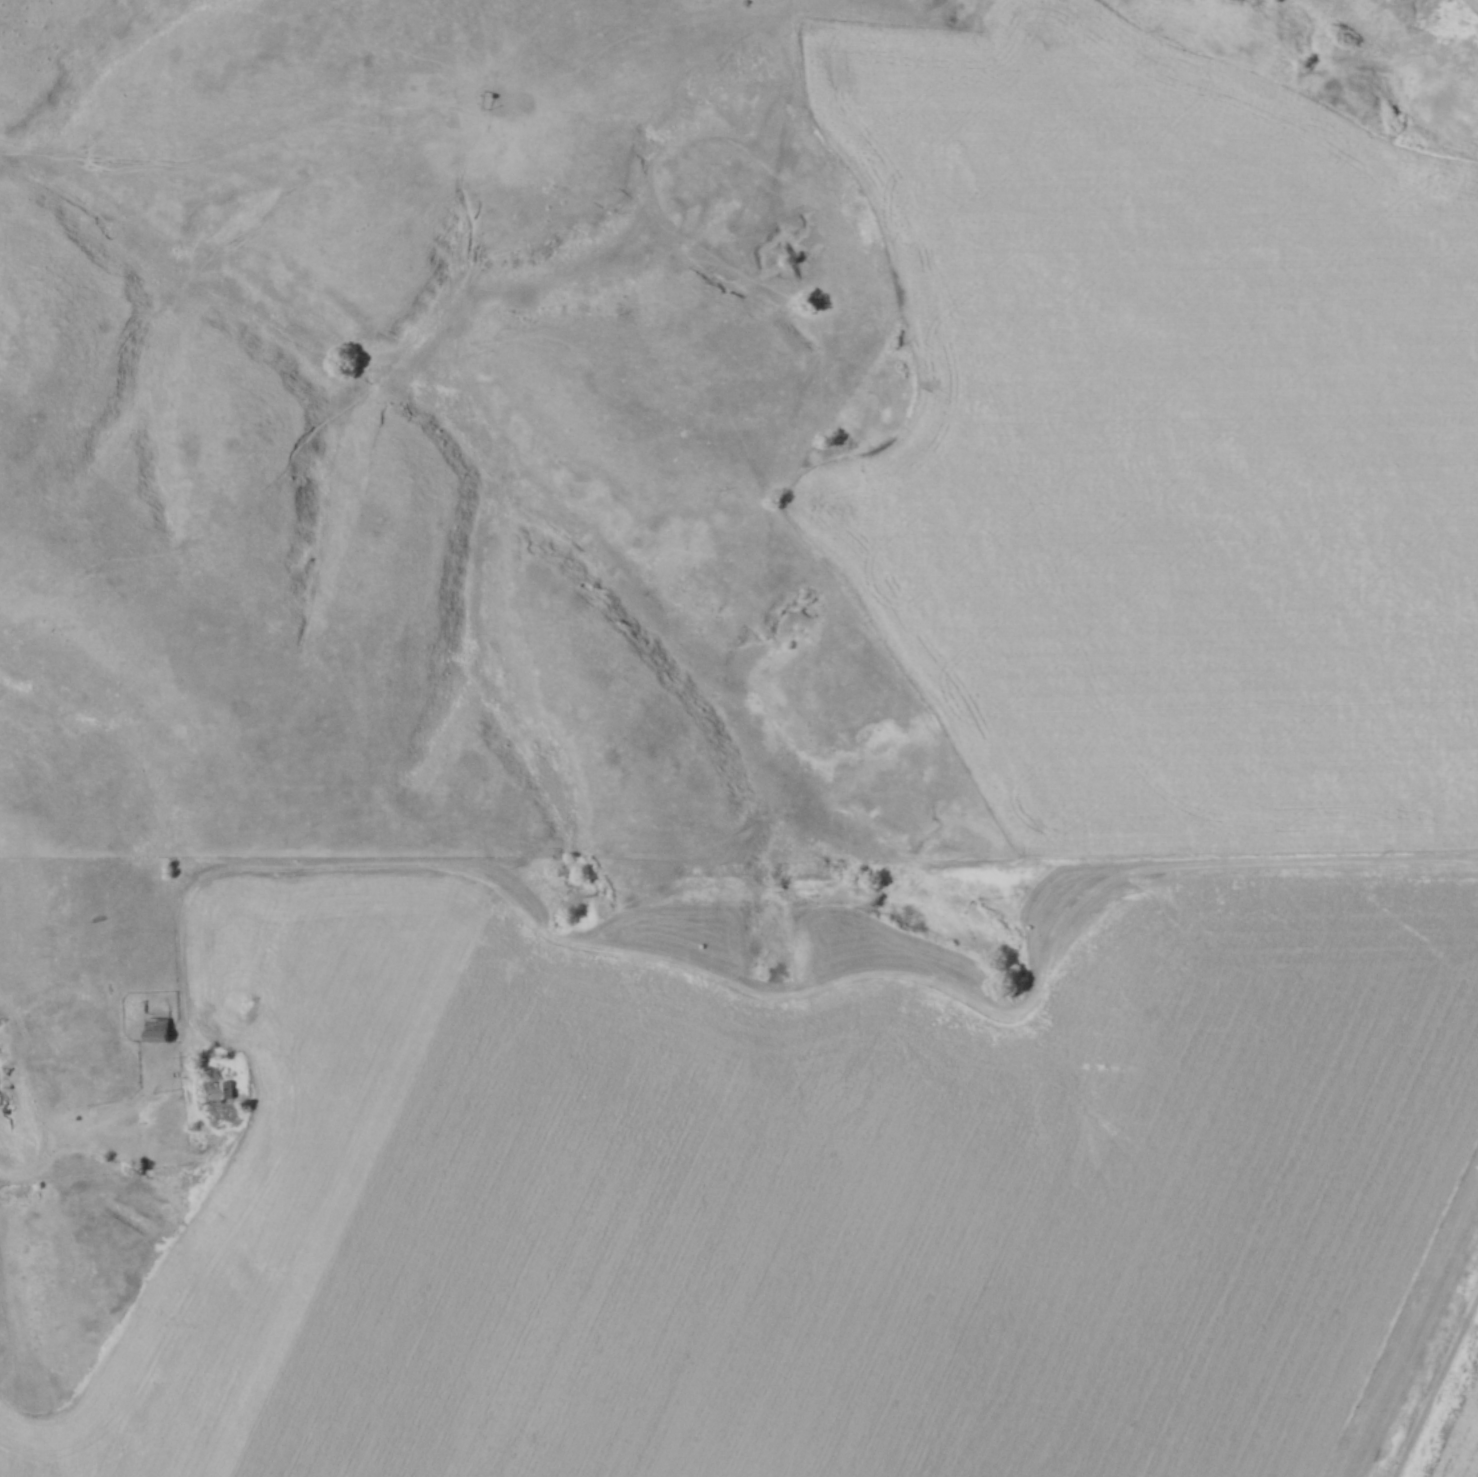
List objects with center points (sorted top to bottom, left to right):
crop: (1472, 3)
crop: (1171, 434)
building: (152, 1029)
building: (217, 1089)
crop: (795, 1194)
railway: (1443, 1400)

